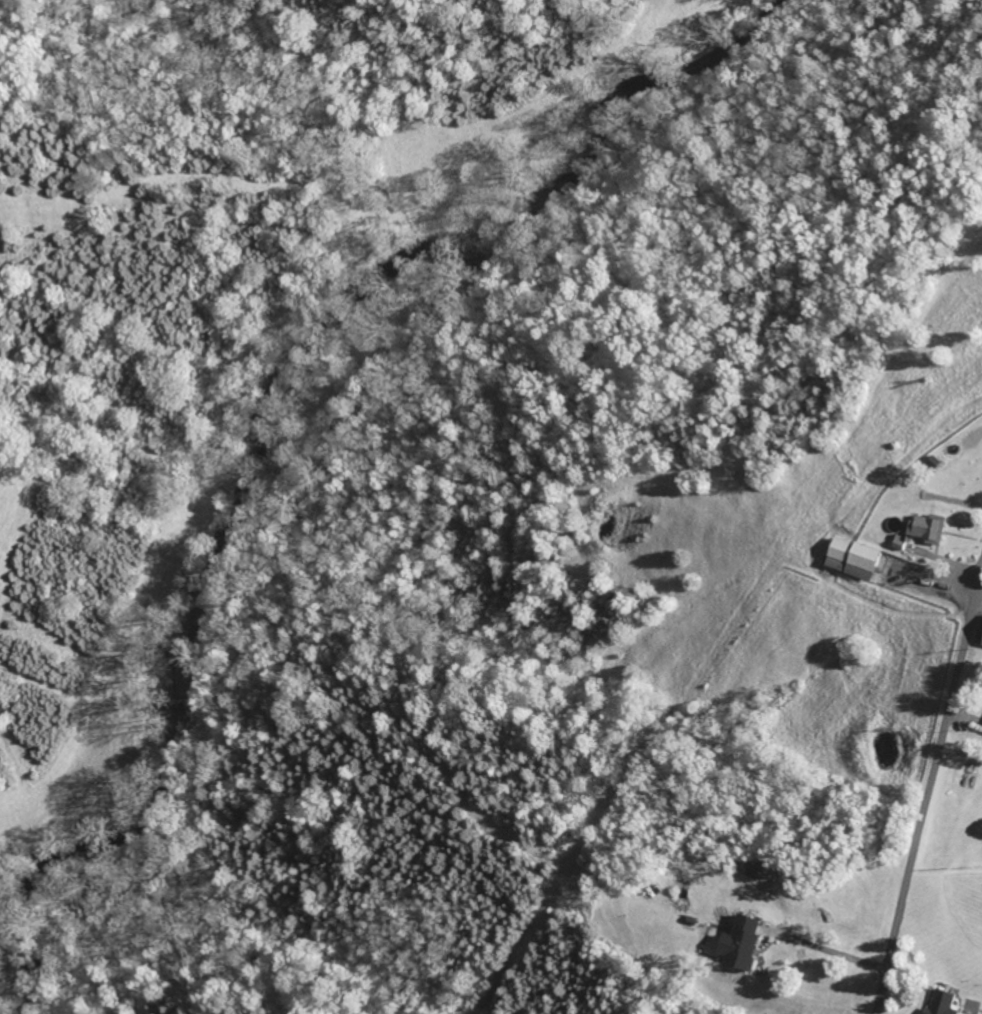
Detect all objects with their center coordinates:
building: (931, 528)
building: (856, 559)
road: (935, 580)
road: (981, 594)
road: (929, 799)
building: (744, 944)
road: (828, 948)
building: (946, 1003)

